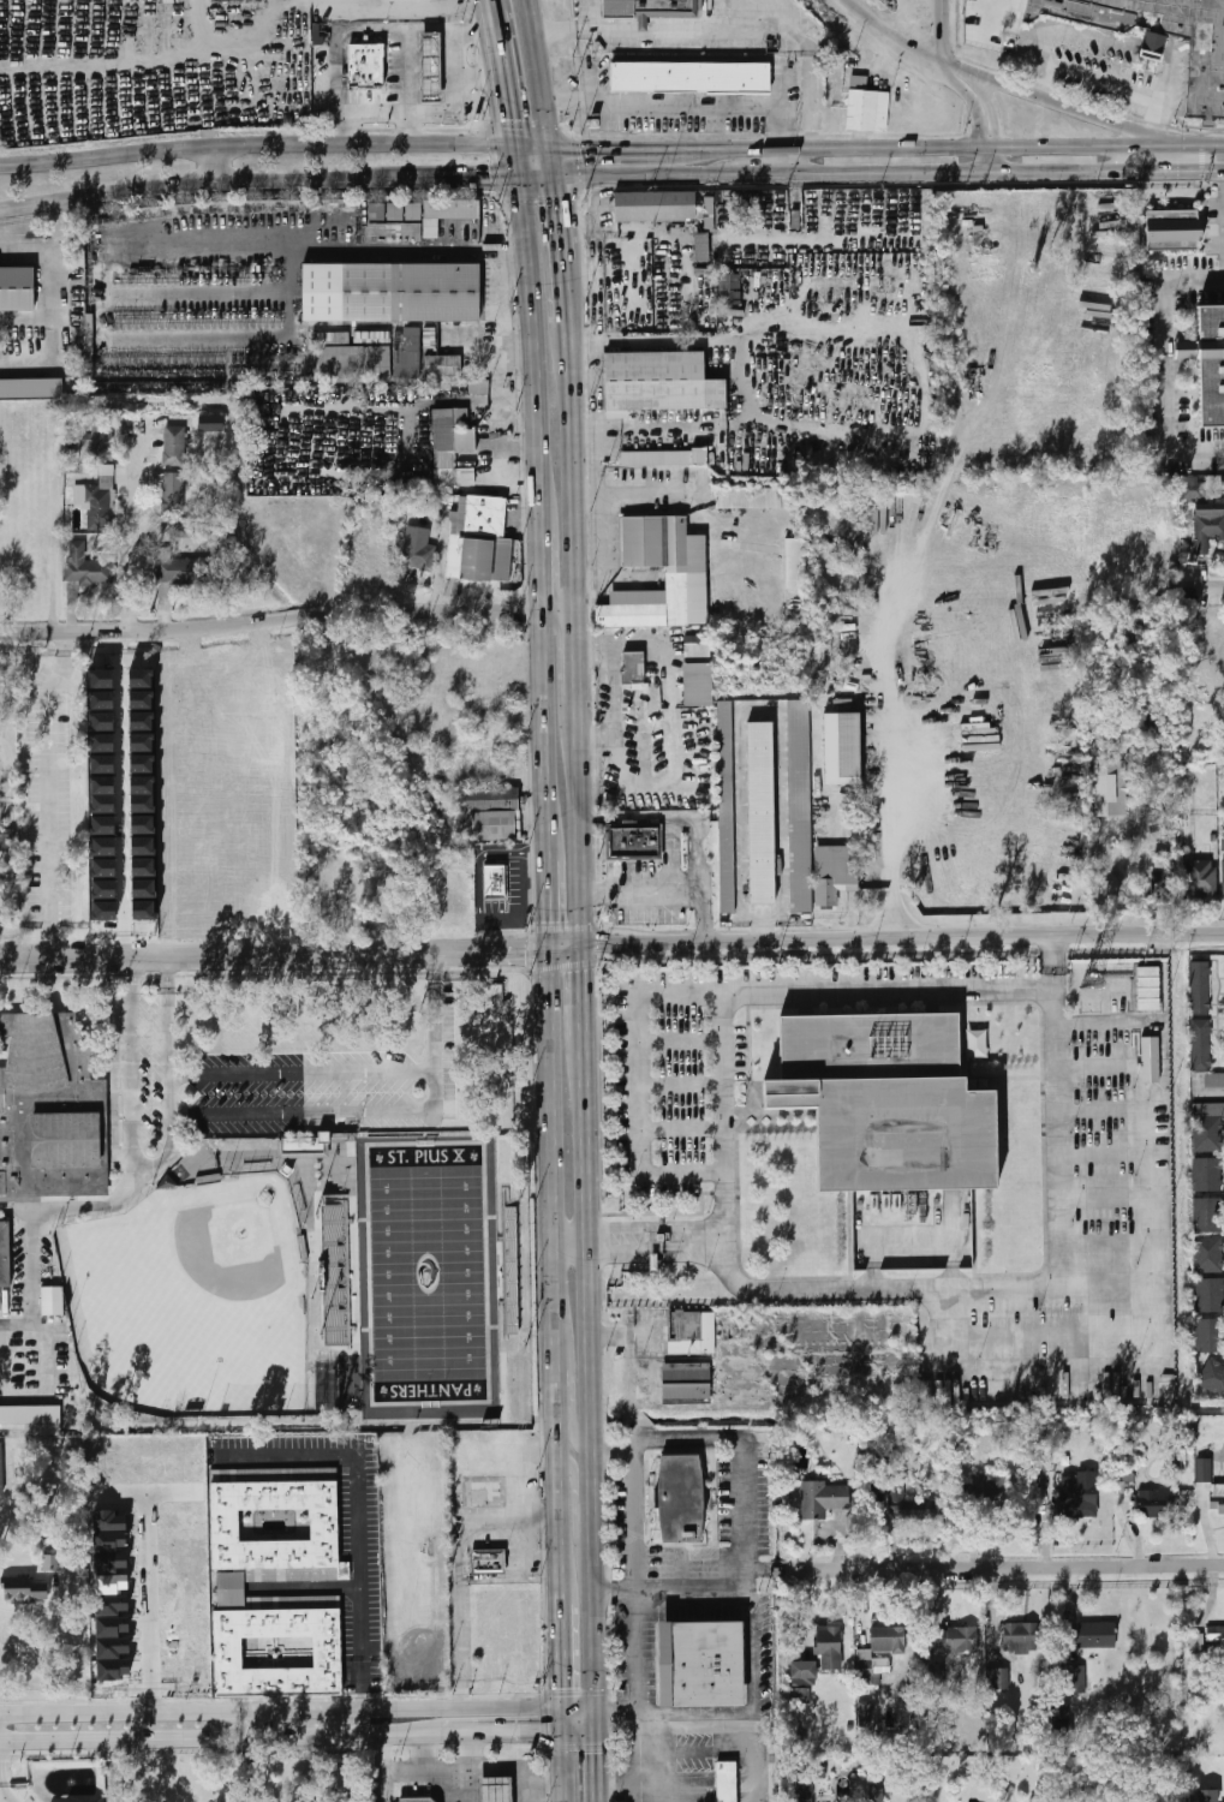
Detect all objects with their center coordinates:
road: (494, 6)
building: (641, 7)
road: (858, 13)
road: (748, 16)
road: (987, 18)
road: (909, 24)
road: (643, 25)
road: (631, 28)
road: (653, 28)
road: (787, 31)
road: (579, 32)
building: (316, 34)
road: (643, 35)
road: (941, 36)
road: (1092, 37)
road: (405, 38)
road: (908, 43)
road: (1035, 43)
street lamp: (1063, 47)
building: (1154, 47)
building: (276, 48)
road: (1153, 52)
road: (1168, 56)
street lamp: (1110, 61)
road: (949, 64)
building: (365, 65)
building: (429, 67)
gas station: (429, 67)
road: (334, 73)
road: (504, 77)
building: (1205, 77)
building: (691, 78)
road: (452, 79)
road: (1094, 79)
road: (1165, 79)
road: (1041, 80)
road: (953, 83)
road: (541, 85)
road: (1052, 103)
road: (677, 107)
building: (866, 107)
road: (993, 109)
road: (443, 111)
road: (1156, 117)
traffic signals: (511, 118)
road: (348, 127)
road: (1151, 138)
road: (1175, 138)
road: (257, 142)
traffic signals: (580, 143)
road: (617, 143)
road: (935, 143)
road: (1174, 143)
traffic signals: (1199, 143)
road: (1211, 143)
road: (1150, 155)
road: (794, 156)
road: (208, 161)
road: (991, 166)
road: (1071, 166)
road: (890, 167)
road: (1186, 167)
traffic signals: (1200, 167)
road: (758, 169)
road: (637, 171)
road: (453, 172)
traffic signals: (492, 172)
road: (177, 184)
traffic signals: (556, 205)
building: (656, 207)
building: (395, 213)
building: (377, 214)
building: (414, 214)
road: (556, 214)
building: (446, 215)
road: (62, 217)
building: (1172, 232)
building: (395, 234)
building: (701, 246)
road: (346, 251)
building: (729, 288)
building: (16, 290)
building: (390, 292)
road: (565, 292)
road: (500, 312)
road: (50, 323)
road: (532, 340)
road: (1163, 362)
building: (354, 364)
building: (1210, 365)
building: (442, 368)
building: (658, 381)
building: (478, 387)
building: (31, 388)
building: (210, 423)
building: (102, 443)
building: (174, 446)
building: (452, 448)
building: (656, 458)
road: (571, 469)
building: (1192, 488)
building: (173, 493)
building: (759, 499)
building: (97, 502)
building: (183, 530)
building: (1206, 535)
road: (133, 537)
building: (480, 541)
building: (655, 541)
building: (418, 556)
building: (796, 565)
building: (89, 566)
building: (180, 571)
road: (542, 573)
road: (1205, 583)
building: (675, 597)
building: (631, 614)
road: (287, 619)
road: (575, 652)
building: (819, 655)
building: (631, 667)
building: (697, 673)
building: (262, 697)
building: (142, 721)
building: (1153, 732)
building: (102, 733)
road: (545, 733)
building: (1119, 744)
building: (841, 747)
building: (142, 753)
building: (103, 764)
road: (906, 775)
building: (1110, 788)
road: (125, 792)
road: (48, 793)
building: (102, 794)
building: (143, 794)
building: (485, 799)
building: (724, 804)
building: (798, 804)
building: (759, 811)
road: (685, 818)
road: (592, 819)
road: (579, 823)
building: (491, 824)
building: (103, 825)
building: (143, 825)
building: (7, 840)
building: (635, 841)
building: (143, 846)
building: (103, 847)
building: (1163, 859)
building: (103, 867)
building: (143, 867)
building: (832, 871)
building: (1223, 878)
building: (1202, 879)
building: (496, 882)
road: (671, 883)
road: (597, 884)
building: (1160, 887)
building: (1110, 888)
building: (105, 889)
building: (143, 889)
building: (453, 900)
building: (179, 901)
building: (320, 901)
road: (549, 902)
building: (277, 908)
building: (144, 909)
building: (105, 911)
traffic signals: (550, 919)
road: (709, 921)
road: (886, 937)
traffic signals: (608, 945)
road: (460, 950)
traffic signals: (529, 950)
road: (184, 954)
road: (1052, 960)
traffic signals: (583, 972)
road: (434, 974)
road: (131, 981)
road: (166, 981)
road: (846, 987)
building: (1200, 987)
building: (1148, 989)
road: (583, 992)
road: (1098, 1025)
road: (679, 1042)
building: (978, 1044)
road: (434, 1052)
building: (1204, 1054)
road: (1099, 1066)
road: (300, 1070)
road: (639, 1081)
flagpole: (747, 1082)
road: (679, 1085)
flagpole: (747, 1092)
road: (129, 1093)
road: (167, 1093)
building: (891, 1100)
flagpole: (747, 1103)
road: (720, 1106)
building: (49, 1108)
road: (1100, 1110)
road: (299, 1112)
road: (680, 1128)
building: (1208, 1128)
road: (1057, 1134)
building: (304, 1147)
road: (1101, 1153)
road: (680, 1171)
building: (1207, 1195)
road: (1146, 1198)
road: (1101, 1199)
road: (652, 1225)
road: (912, 1230)
building: (662, 1236)
road: (722, 1236)
road: (572, 1240)
road: (1103, 1242)
road: (653, 1251)
building: (4, 1254)
building: (1208, 1255)
stadium: (418, 1267)
park: (428, 1270)
building: (336, 1275)
road: (556, 1276)
road: (924, 1287)
building: (1214, 1291)
park: (195, 1299)
building: (50, 1301)
road: (31, 1303)
road: (949, 1329)
building: (692, 1332)
road: (1050, 1333)
building: (1205, 1335)
road: (589, 1370)
road: (1051, 1372)
building: (1212, 1377)
building: (687, 1382)
road: (572, 1404)
building: (34, 1419)
road: (610, 1449)
building: (1047, 1463)
building: (0, 1468)
building: (1205, 1470)
building: (1124, 1473)
building: (1079, 1492)
building: (484, 1496)
building: (679, 1497)
road: (575, 1498)
building: (824, 1498)
building: (1217, 1502)
building: (1156, 1503)
building: (916, 1508)
road: (538, 1511)
building: (108, 1521)
building: (329, 1524)
building: (109, 1541)
building: (489, 1558)
road: (538, 1558)
building: (50, 1562)
building: (109, 1562)
road: (1010, 1565)
road: (750, 1571)
road: (365, 1573)
road: (506, 1577)
building: (109, 1583)
road: (632, 1583)
building: (24, 1587)
building: (228, 1588)
road: (671, 1589)
building: (111, 1605)
road: (150, 1607)
building: (111, 1625)
road: (72, 1631)
building: (1091, 1635)
building: (1020, 1637)
building: (1216, 1637)
building: (888, 1640)
building: (1196, 1642)
building: (951, 1646)
building: (112, 1647)
building: (830, 1649)
building: (332, 1652)
road: (561, 1653)
building: (697, 1661)
building: (112, 1669)
building: (802, 1670)
building: (868, 1673)
building: (998, 1679)
building: (1074, 1679)
traffic signals: (562, 1687)
road: (579, 1702)
road: (613, 1708)
road: (281, 1709)
traffic signals: (614, 1709)
building: (864, 1713)
road: (563, 1716)
road: (595, 1716)
road: (693, 1717)
building: (889, 1722)
road: (613, 1723)
building: (1059, 1723)
road: (250, 1724)
road: (579, 1730)
traffic signals: (541, 1731)
road: (492, 1732)
road: (210, 1738)
road: (473, 1752)
traffic signals: (595, 1753)
road: (563, 1766)
road: (595, 1766)
road: (247, 1770)
road: (117, 1771)
road: (483, 1771)
road: (650, 1774)
building: (726, 1782)
road: (464, 1786)
building: (877, 1789)
building: (492, 1790)
gas station: (492, 1790)
road: (5, 1792)
building: (1207, 1795)
road: (529, 1796)
building: (416, 1800)
building: (1041, 1800)

